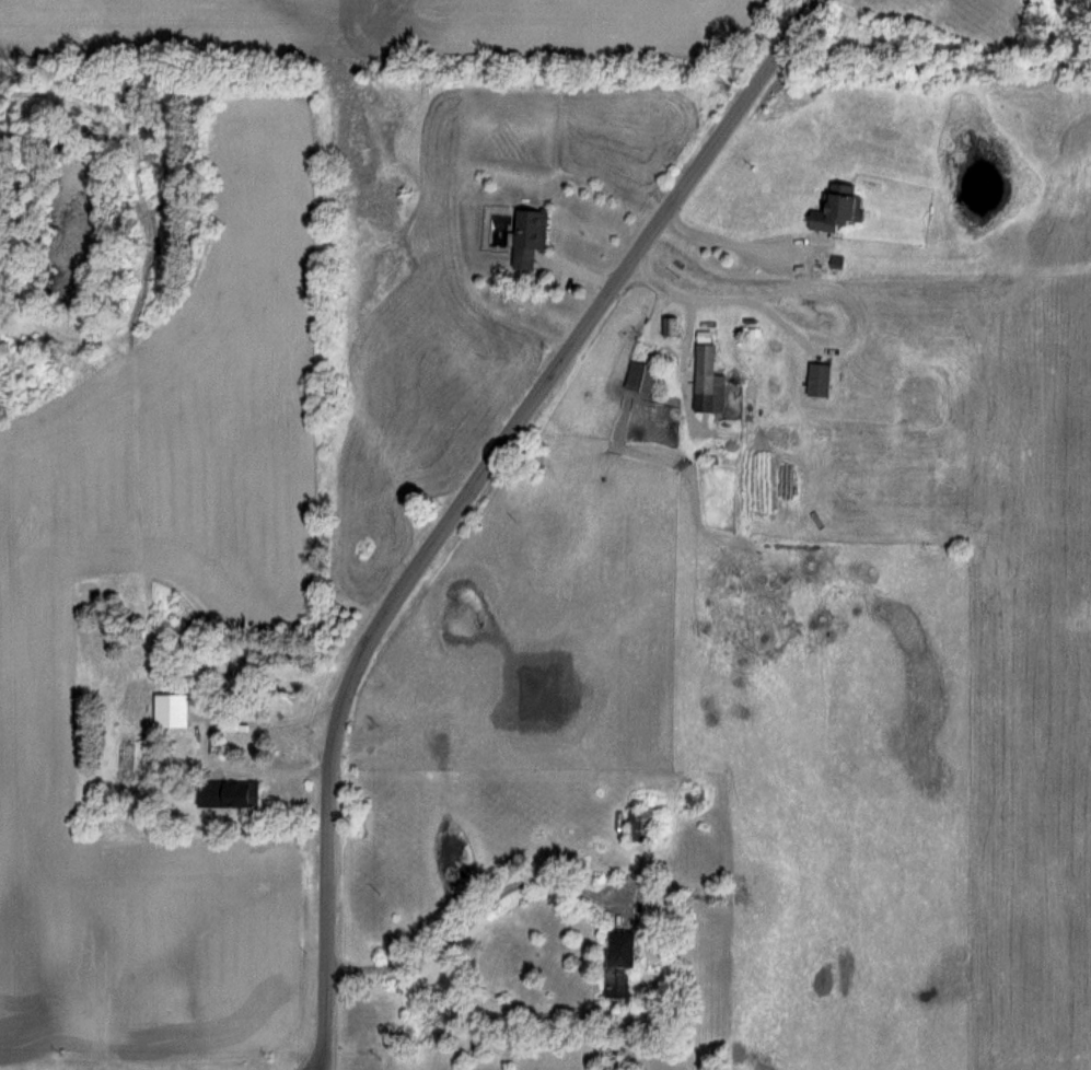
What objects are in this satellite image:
building: (831, 212)
building: (525, 236)
road: (733, 244)
road: (730, 296)
building: (669, 326)
building: (645, 377)
building: (814, 380)
building: (705, 382)
road: (469, 498)
building: (167, 711)
road: (204, 733)
road: (306, 746)
building: (225, 794)
building: (641, 825)
road: (465, 915)
building: (615, 963)

